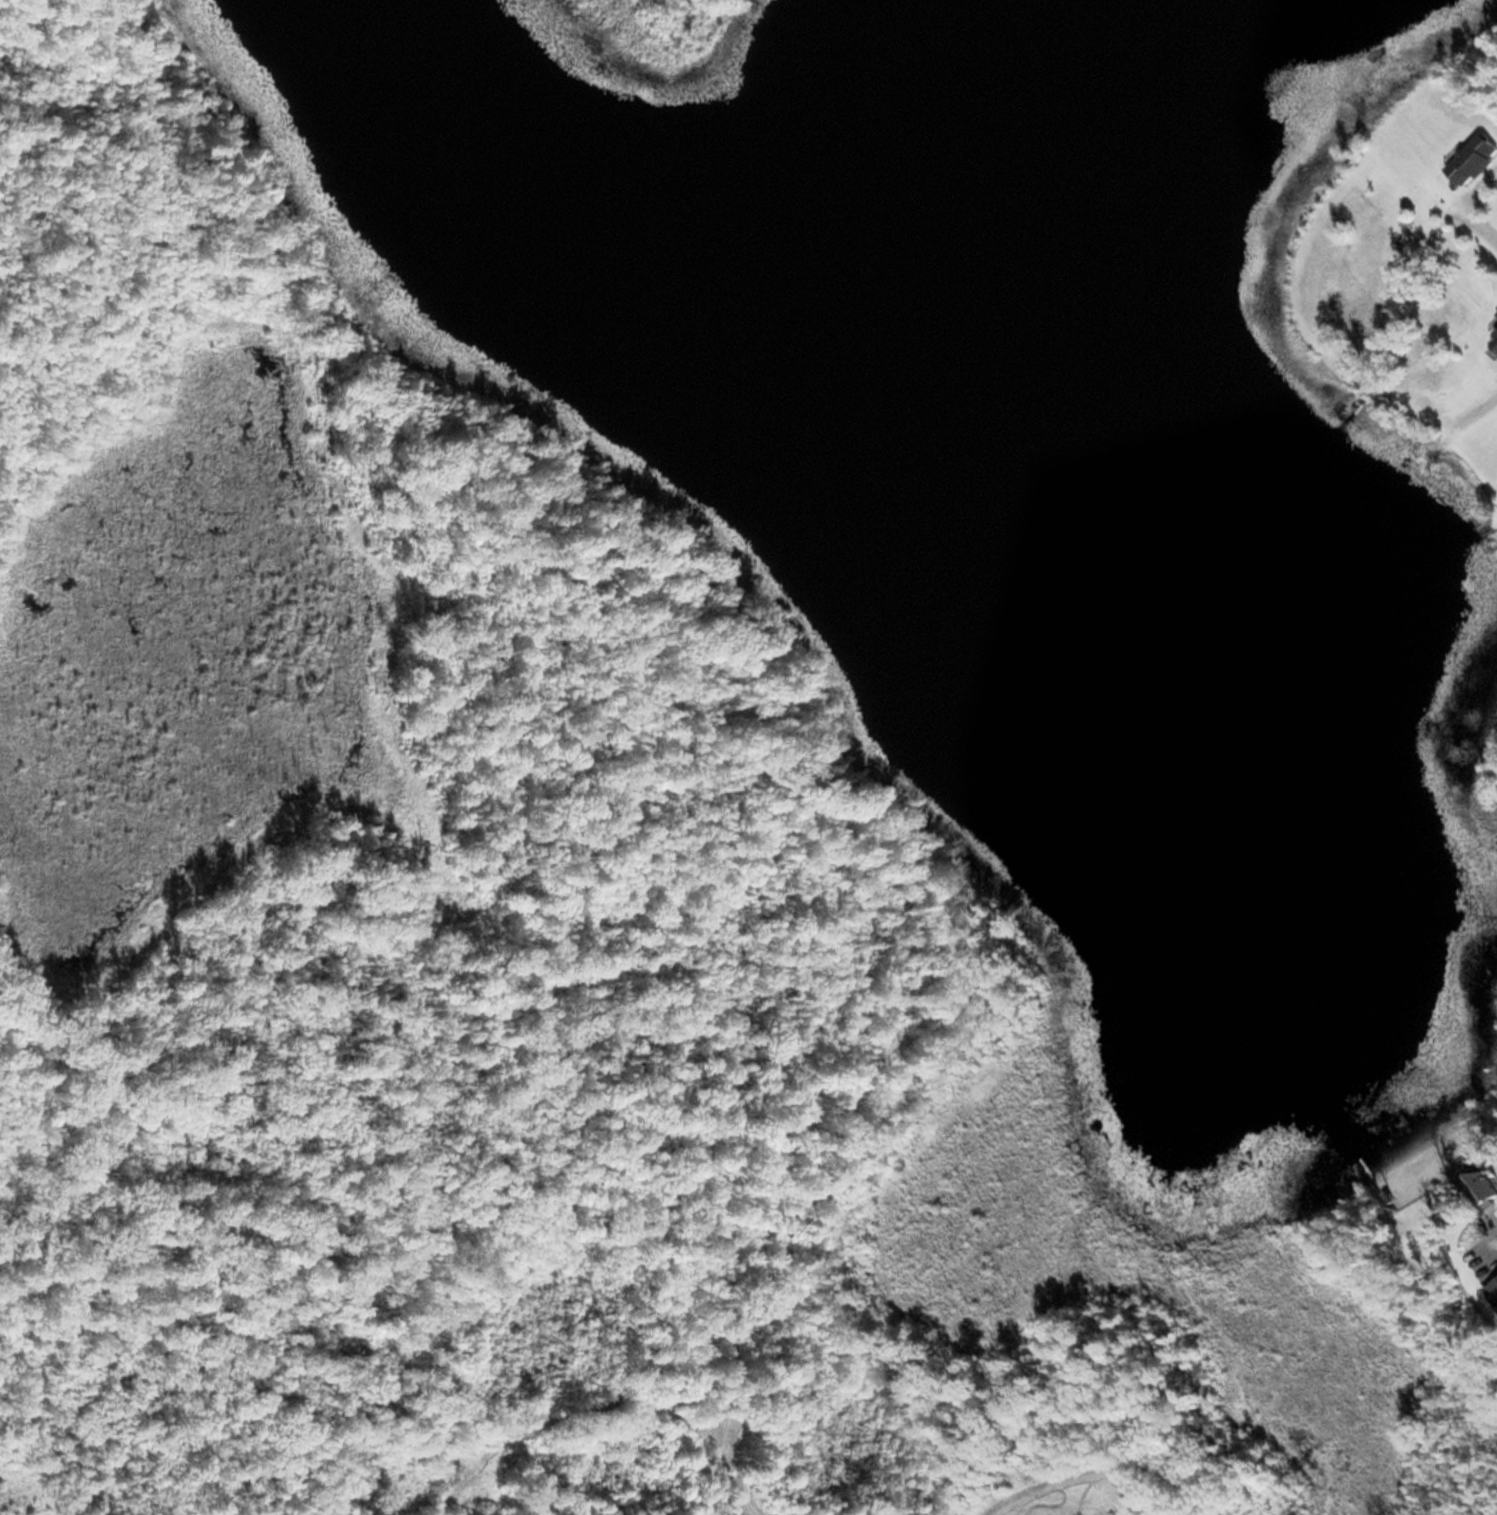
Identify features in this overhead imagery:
building: (1473, 159)
building: (1496, 314)
building: (1496, 333)
building: (1493, 349)
building: (1494, 1293)

